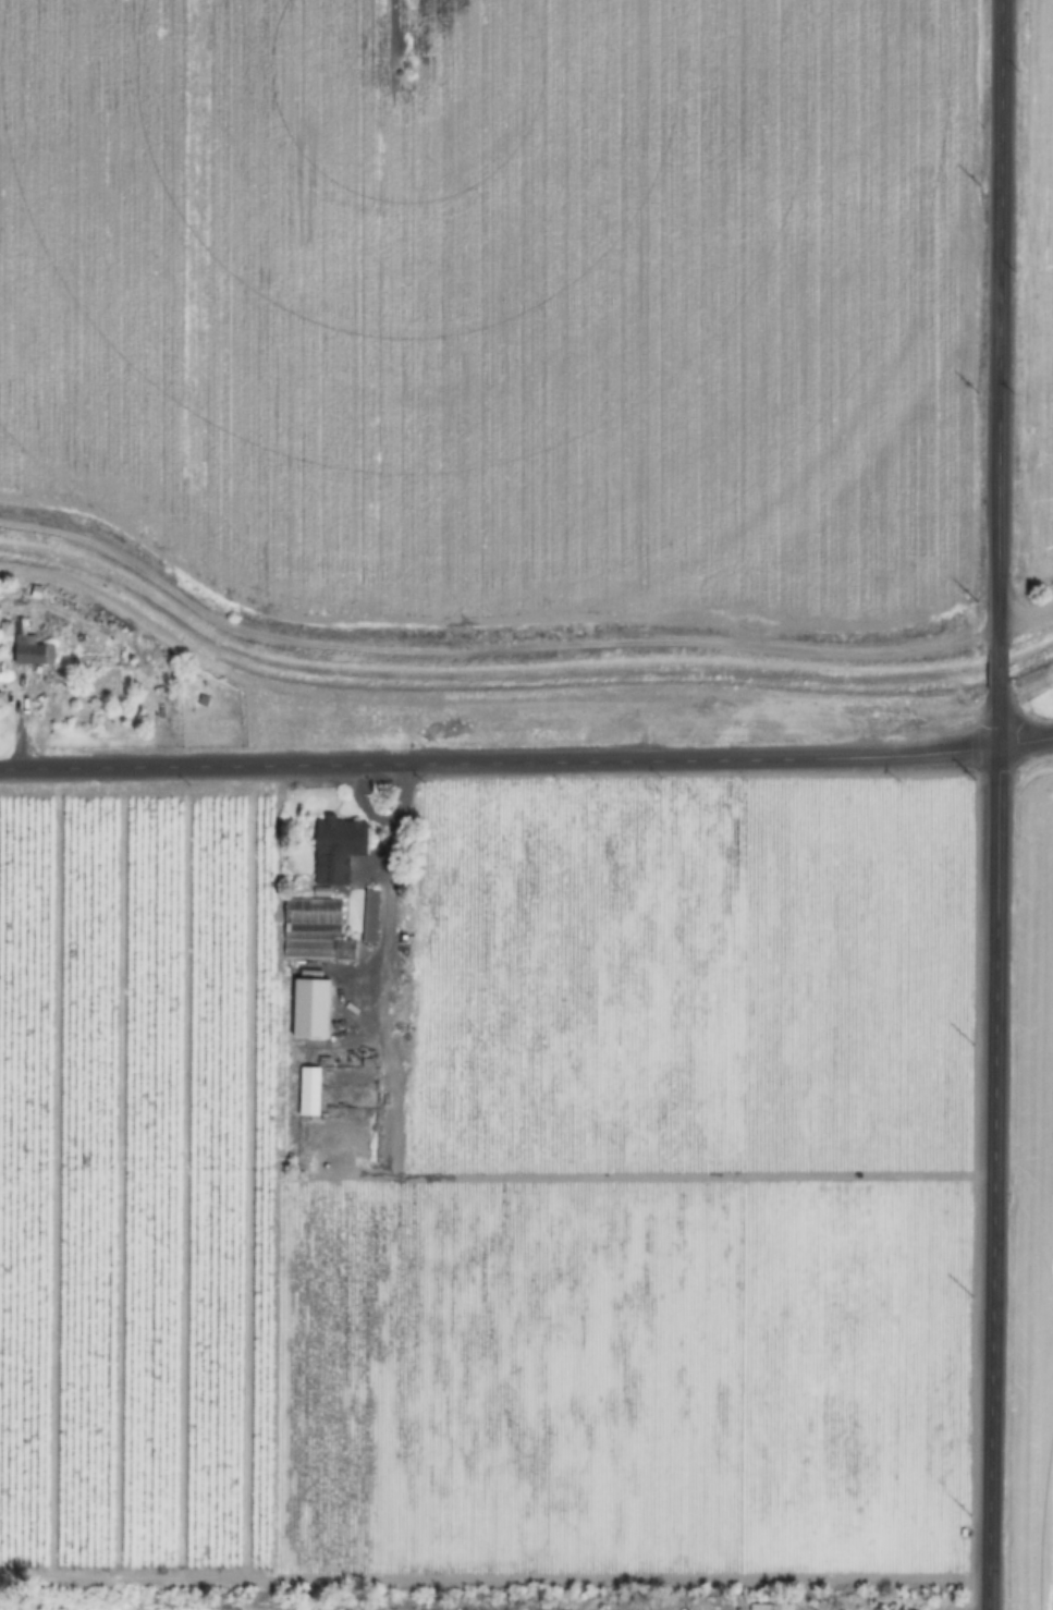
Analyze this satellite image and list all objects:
road: (999, 318)
road: (1025, 611)
building: (32, 654)
road: (996, 669)
road: (999, 727)
road: (1026, 746)
road: (500, 759)
building: (338, 849)
building: (369, 917)
building: (315, 930)
building: (309, 1091)
building: (389, 1110)
road: (994, 1181)

